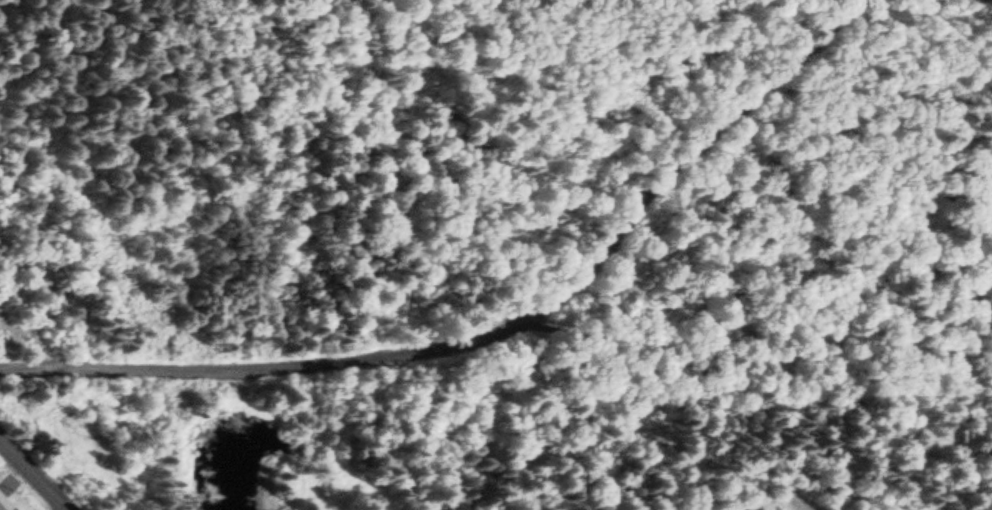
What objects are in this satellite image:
road: (483, 324)
road: (749, 331)
road: (35, 471)
building: (4, 502)

